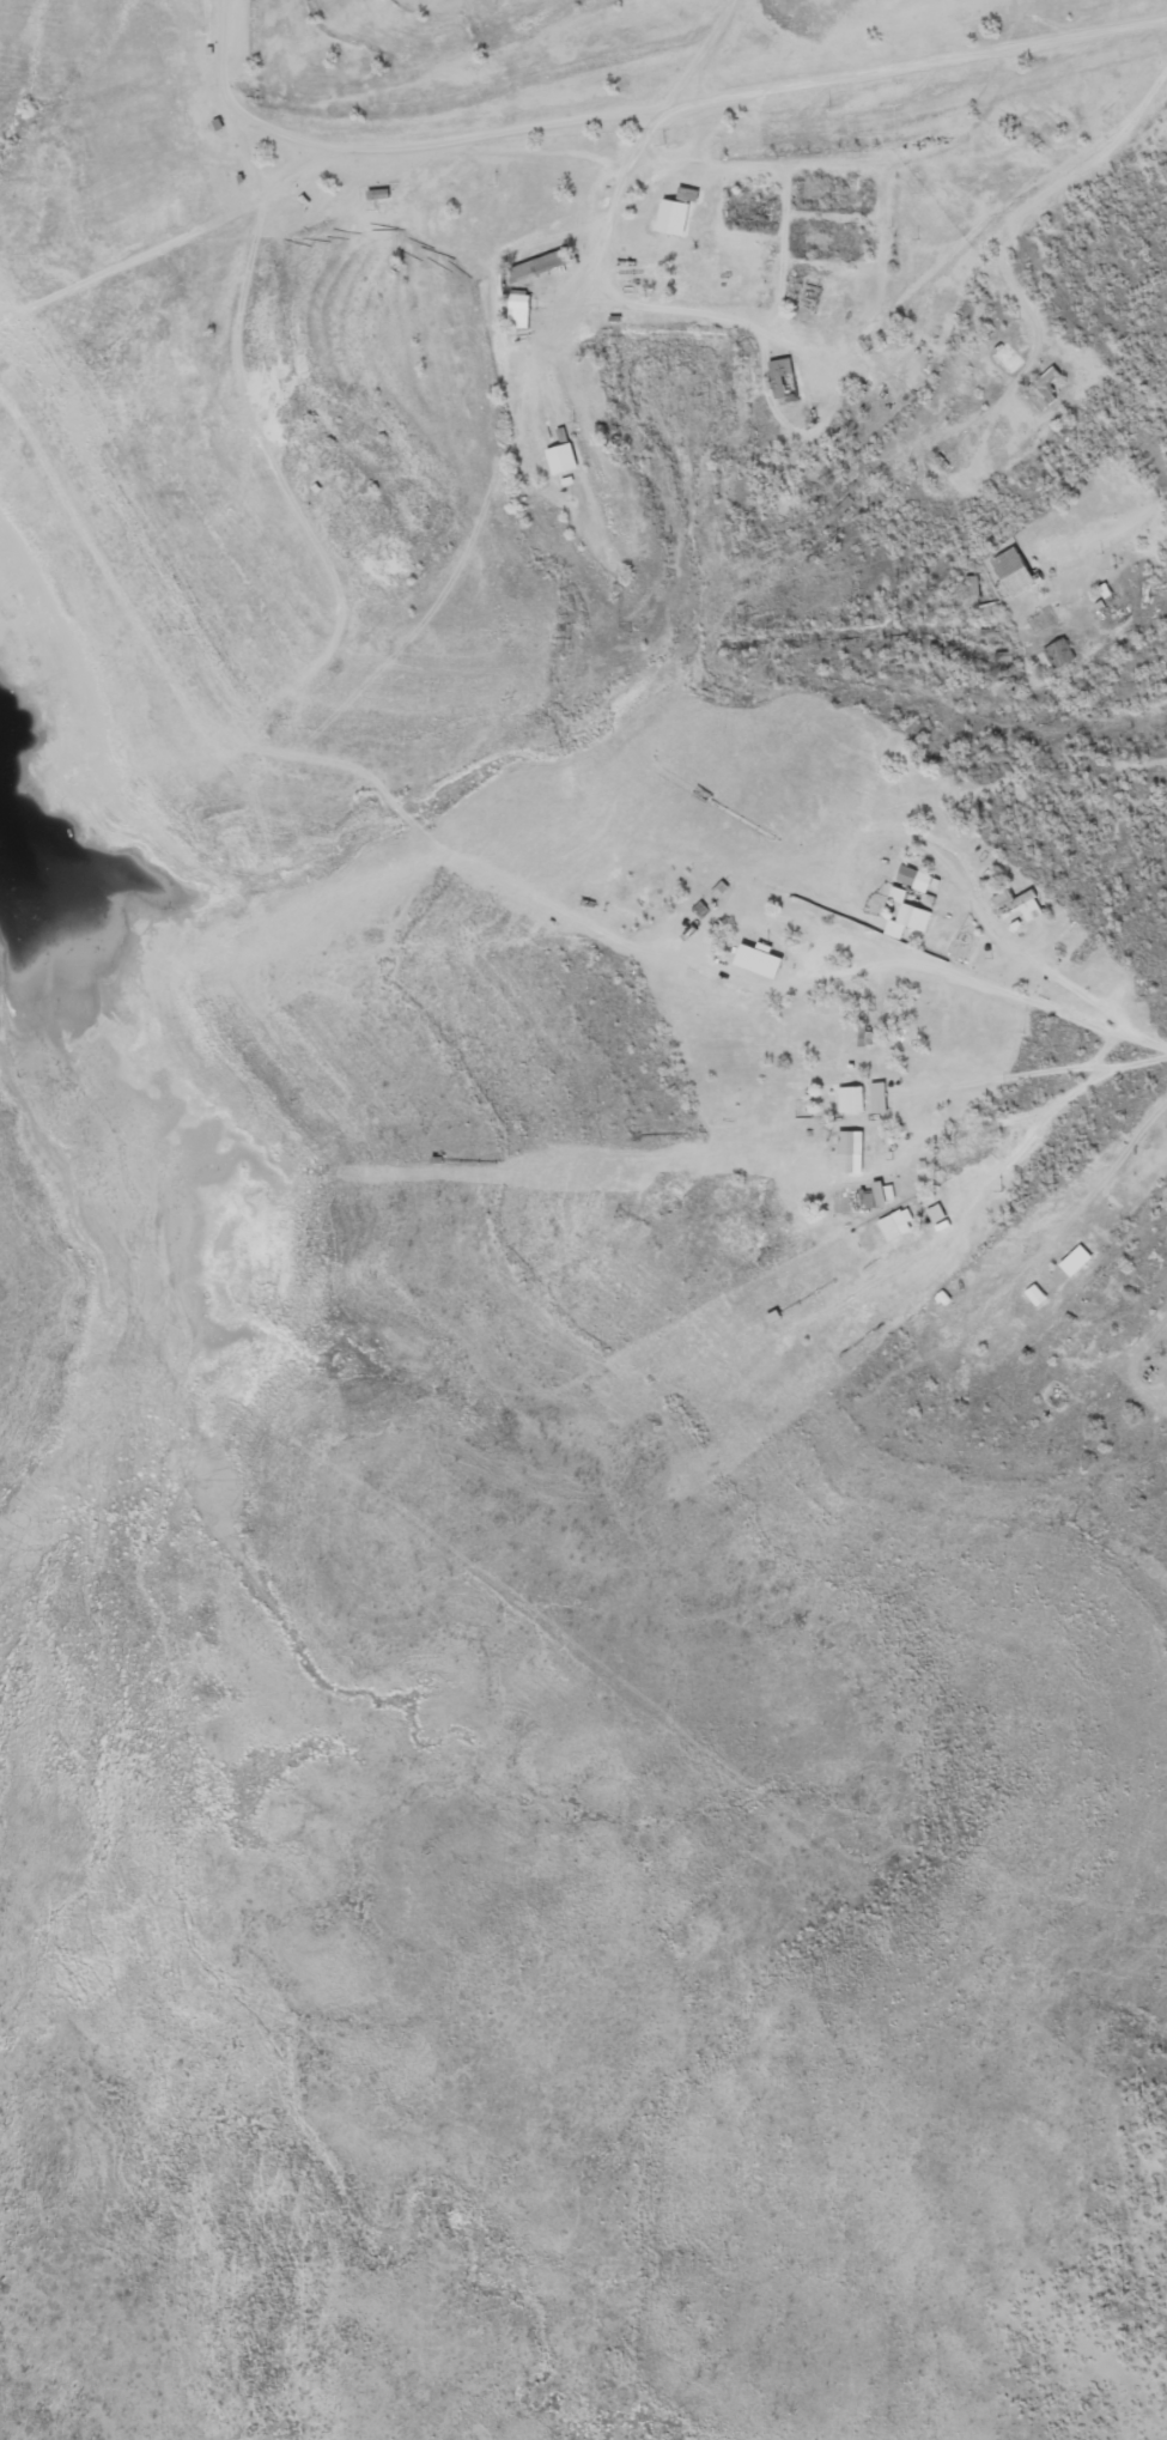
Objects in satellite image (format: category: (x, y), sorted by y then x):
road: (703, 49)
road: (646, 105)
road: (248, 165)
building: (379, 193)
building: (676, 212)
road: (998, 244)
building: (536, 266)
building: (519, 309)
building: (1007, 358)
building: (784, 378)
building: (1044, 389)
building: (1015, 571)
building: (1060, 654)
building: (913, 879)
building: (1017, 906)
building: (906, 916)
building: (808, 925)
building: (962, 941)
building: (759, 959)
road: (977, 978)
road: (928, 1056)
building: (879, 1097)
building: (851, 1099)
building: (850, 1145)
building: (896, 1224)
building: (1076, 1260)
building: (1035, 1295)

